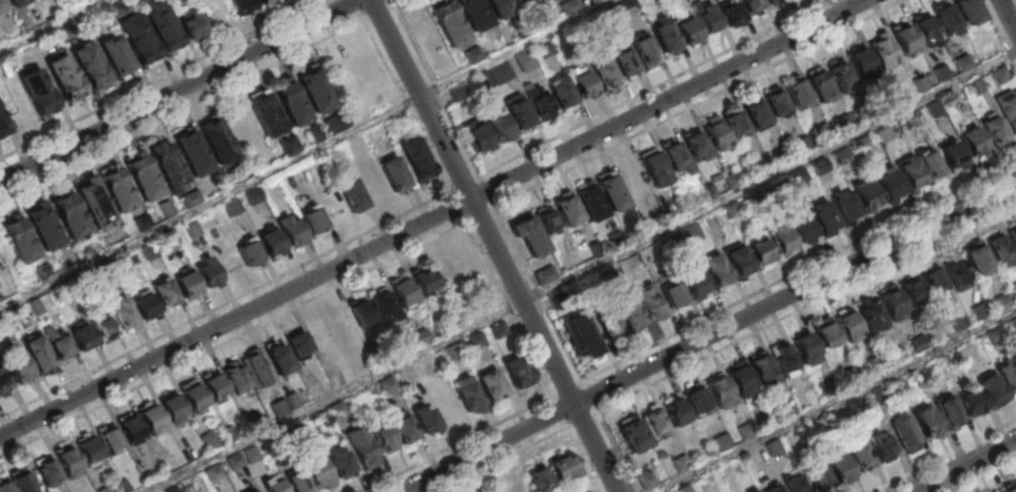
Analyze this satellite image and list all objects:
building: (34, 0)
building: (547, 0)
building: (773, 2)
building: (267, 3)
building: (17, 4)
building: (529, 4)
building: (2, 6)
building: (753, 6)
building: (242, 7)
building: (502, 9)
building: (968, 9)
building: (731, 12)
road: (1009, 13)
building: (475, 16)
building: (947, 17)
building: (710, 21)
building: (193, 22)
building: (449, 23)
building: (163, 26)
building: (926, 28)
road: (999, 31)
building: (690, 33)
building: (905, 38)
building: (666, 40)
building: (139, 42)
building: (646, 51)
building: (884, 51)
building: (473, 54)
building: (118, 59)
building: (860, 60)
building: (525, 61)
building: (963, 63)
building: (626, 65)
building: (92, 69)
building: (604, 73)
building: (842, 74)
building: (1000, 75)
building: (66, 81)
building: (582, 82)
building: (819, 83)
building: (921, 83)
road: (436, 85)
road: (655, 88)
road: (179, 90)
building: (316, 90)
building: (458, 92)
building: (798, 92)
building: (39, 94)
building: (562, 94)
building: (291, 102)
building: (540, 102)
building: (777, 103)
building: (1009, 109)
building: (519, 111)
building: (266, 112)
building: (756, 113)
building: (737, 126)
building: (3, 128)
building: (488, 129)
building: (994, 129)
building: (718, 135)
building: (972, 140)
building: (219, 143)
building: (289, 145)
building: (697, 146)
building: (952, 153)
road: (306, 155)
building: (675, 155)
building: (194, 156)
building: (417, 162)
building: (930, 163)
building: (819, 165)
building: (167, 166)
building: (762, 166)
building: (655, 168)
building: (910, 172)
building: (798, 175)
road: (481, 176)
building: (395, 177)
road: (770, 177)
building: (733, 180)
building: (145, 181)
building: (888, 183)
building: (611, 191)
building: (119, 192)
building: (866, 194)
building: (354, 197)
building: (590, 202)
building: (846, 205)
building: (166, 208)
building: (567, 209)
building: (824, 216)
building: (71, 218)
road: (434, 218)
building: (314, 219)
building: (45, 230)
building: (536, 231)
building: (803, 231)
building: (292, 233)
building: (1013, 233)
building: (781, 238)
building: (271, 242)
building: (21, 243)
road: (496, 245)
building: (249, 251)
building: (760, 251)
building: (1000, 251)
building: (978, 259)
building: (738, 260)
building: (444, 266)
building: (716, 269)
building: (210, 272)
building: (957, 273)
building: (544, 275)
building: (933, 278)
building: (187, 283)
building: (425, 283)
building: (1014, 285)
building: (684, 289)
building: (165, 293)
building: (913, 293)
building: (404, 294)
building: (889, 300)
building: (1003, 301)
building: (650, 302)
road: (225, 305)
road: (545, 305)
building: (146, 306)
road: (807, 306)
building: (385, 307)
building: (980, 311)
building: (362, 312)
building: (629, 314)
building: (870, 316)
building: (125, 319)
building: (958, 320)
building: (607, 322)
building: (1014, 324)
building: (103, 327)
building: (848, 327)
building: (825, 334)
building: (996, 335)
building: (581, 336)
building: (82, 337)
road: (709, 337)
road: (233, 341)
building: (59, 345)
building: (300, 348)
building: (806, 348)
building: (38, 354)
building: (784, 359)
building: (280, 361)
building: (18, 366)
building: (763, 369)
building: (517, 375)
building: (1007, 376)
building: (741, 380)
building: (4, 381)
building: (238, 383)
building: (387, 387)
building: (492, 388)
building: (216, 391)
building: (719, 391)
building: (992, 394)
building: (195, 400)
building: (470, 400)
building: (697, 400)
road: (836, 401)
building: (971, 403)
building: (447, 408)
building: (174, 411)
building: (675, 411)
building: (950, 415)
building: (154, 422)
building: (426, 422)
building: (654, 422)
building: (927, 425)
building: (746, 431)
building: (132, 432)
building: (394, 433)
building: (905, 434)
road: (551, 436)
building: (635, 439)
building: (109, 440)
building: (723, 442)
road: (458, 444)
building: (88, 448)
building: (883, 449)
building: (364, 452)
road: (945, 456)
building: (860, 458)
building: (68, 462)
building: (680, 465)
building: (563, 466)
road: (965, 466)
building: (342, 468)
building: (47, 471)
building: (839, 471)
building: (319, 475)
road: (984, 476)
building: (538, 478)
building: (819, 478)
building: (17, 481)
building: (299, 483)
building: (796, 484)
building: (514, 485)
building: (276, 488)
building: (1011, 488)
building: (106, 489)
building: (776, 490)
building: (757, 491)
building: (999, 491)

